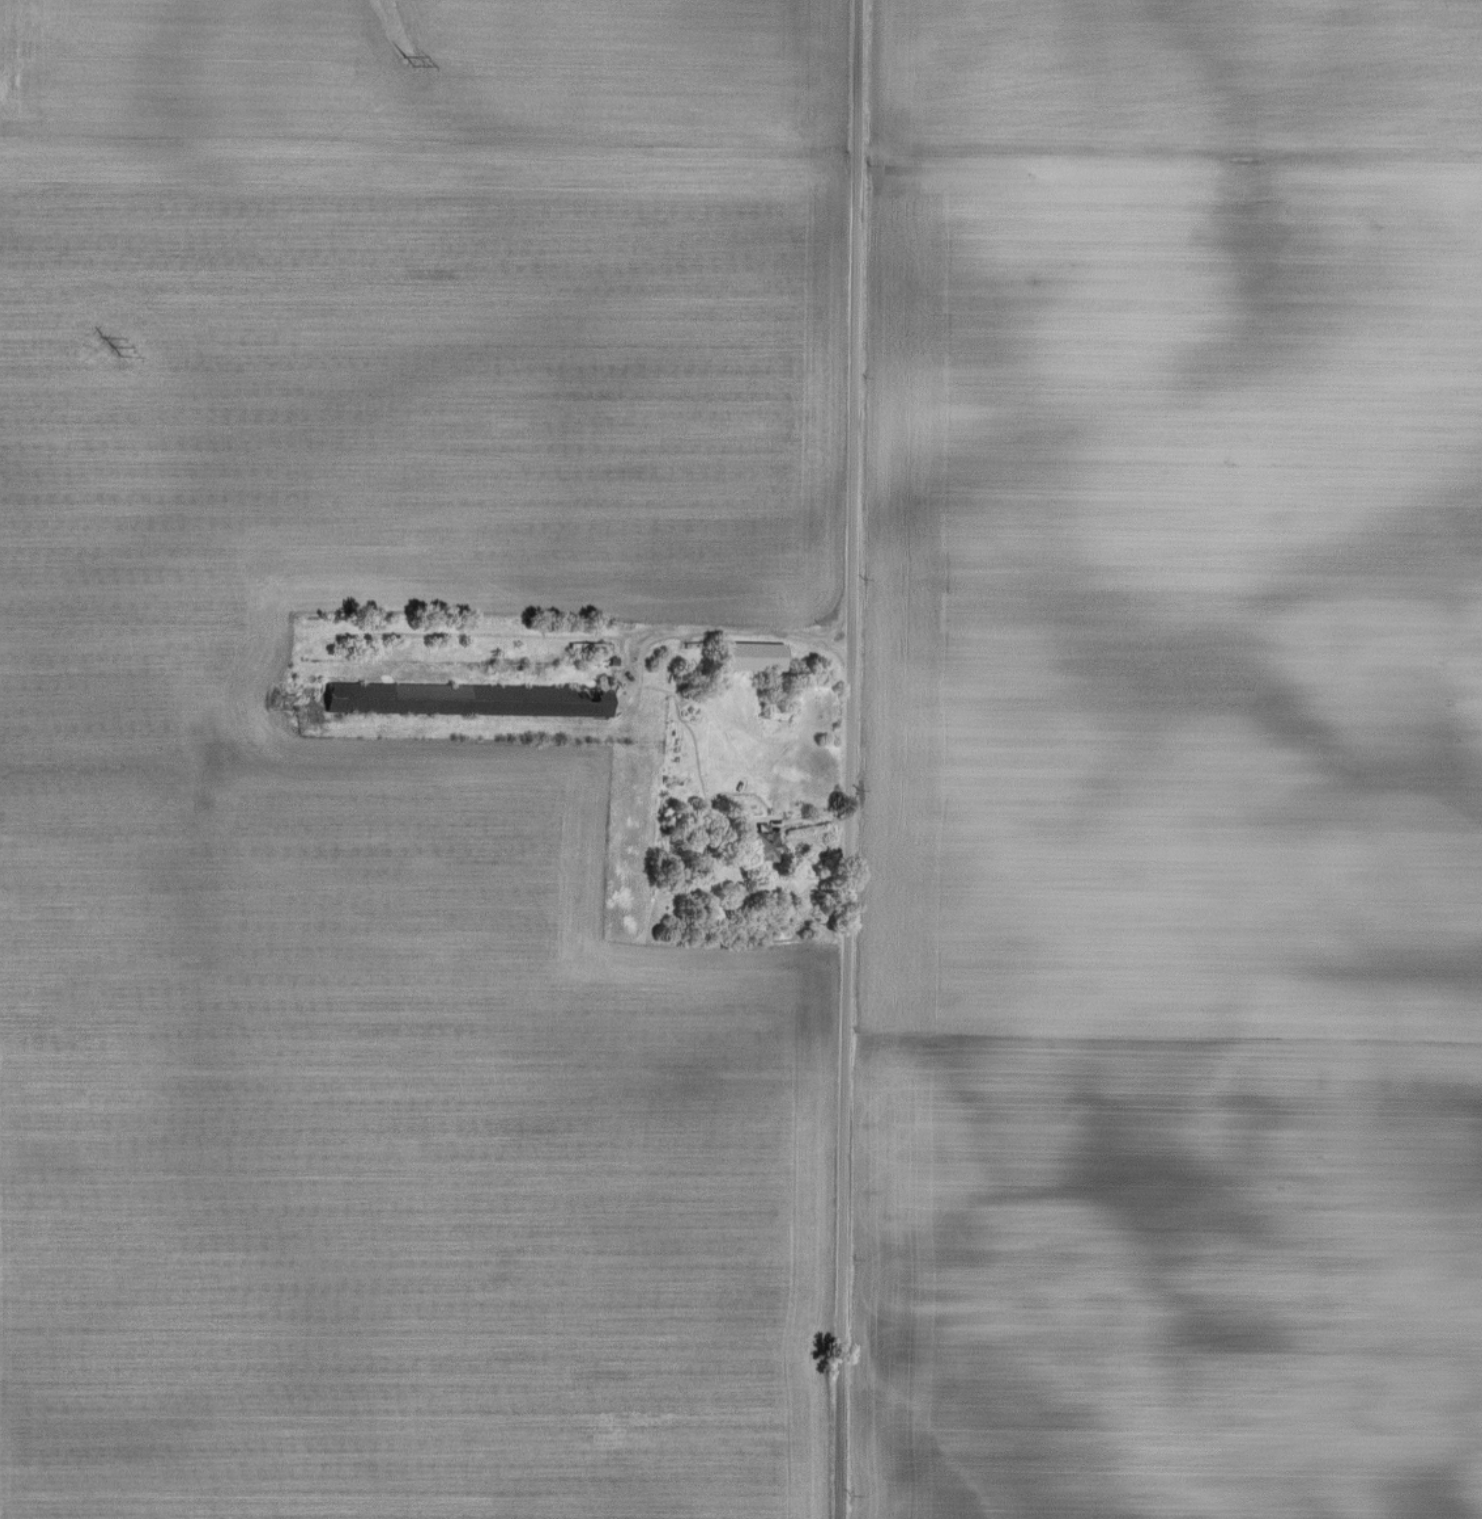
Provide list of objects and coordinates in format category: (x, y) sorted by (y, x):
power tower: (405, 61)
power tower: (109, 347)
building: (433, 697)
road: (849, 759)

